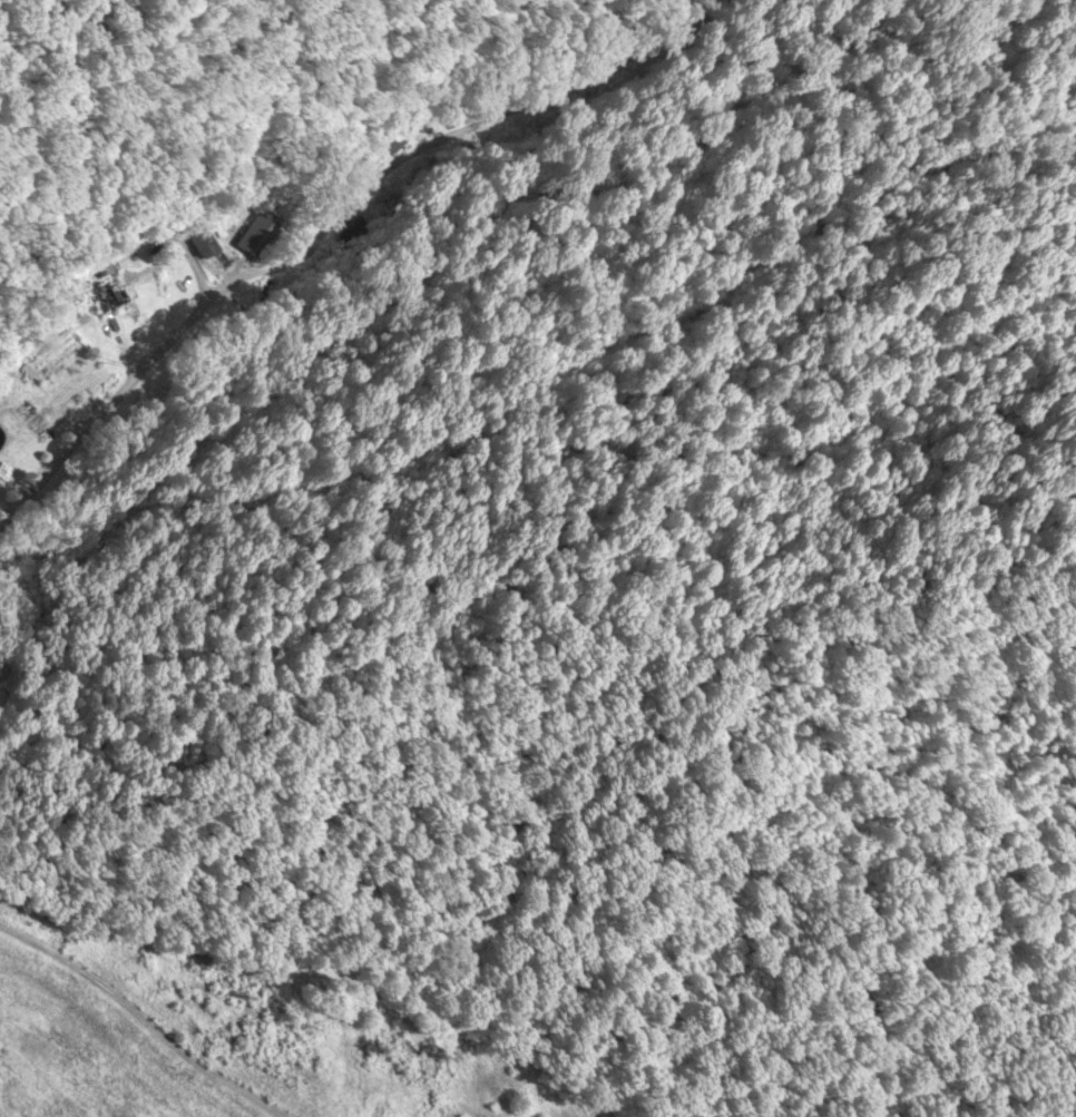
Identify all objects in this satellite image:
building: (475, 106)
building: (375, 151)
building: (258, 234)
building: (198, 238)
building: (104, 296)
road: (109, 415)

